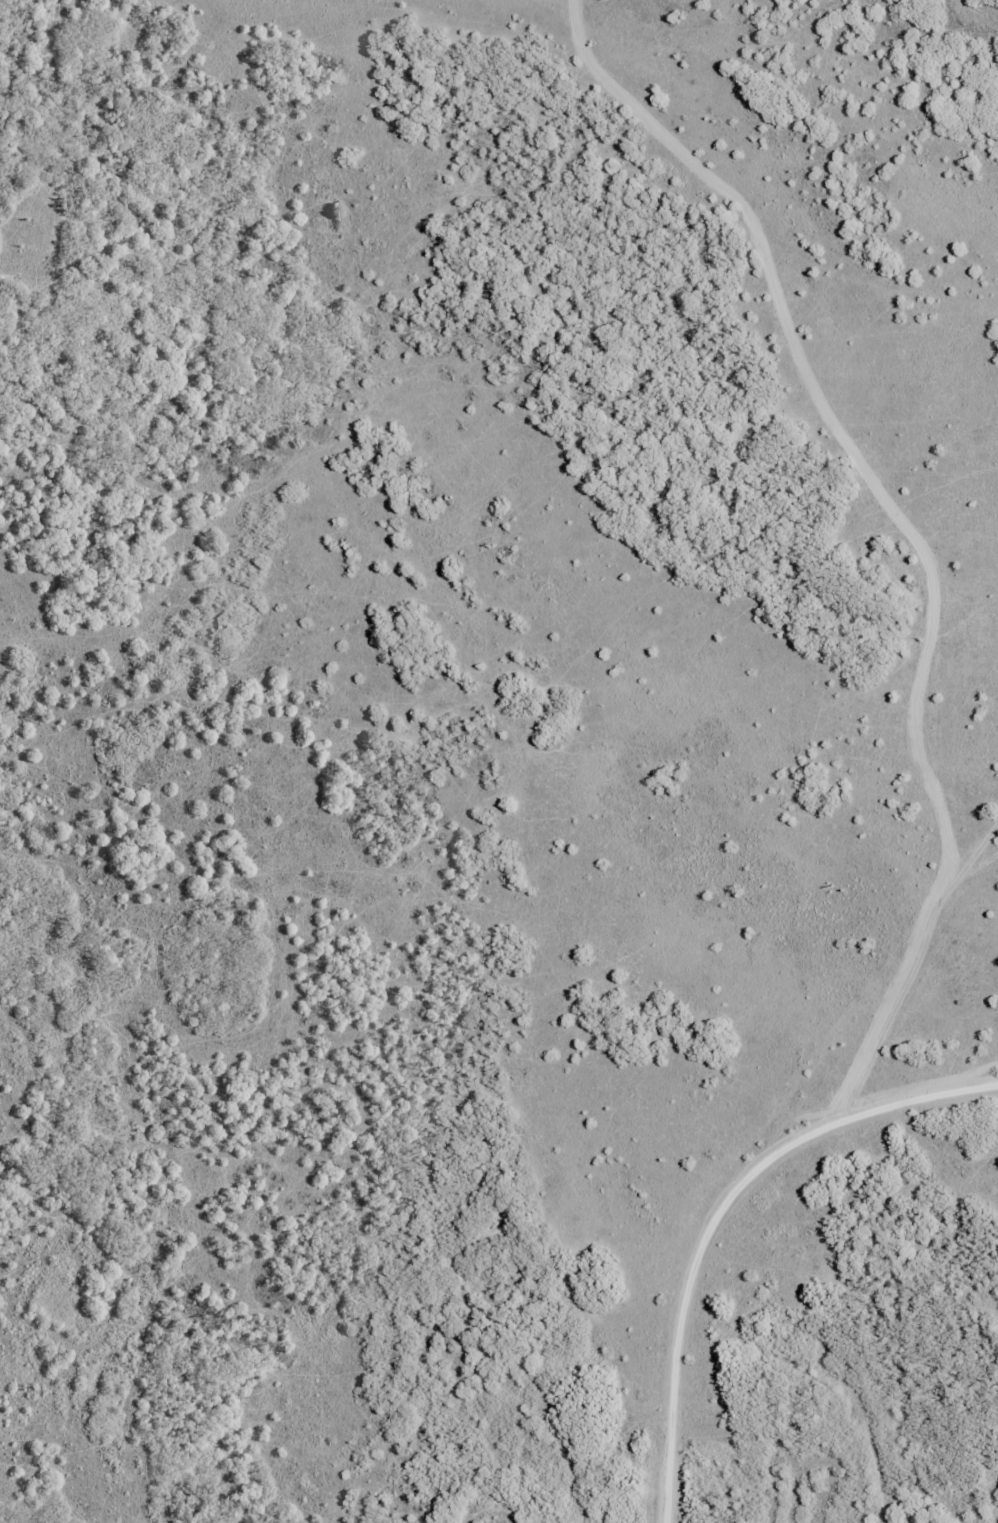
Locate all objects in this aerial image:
road: (779, 105)
road: (711, 1196)

